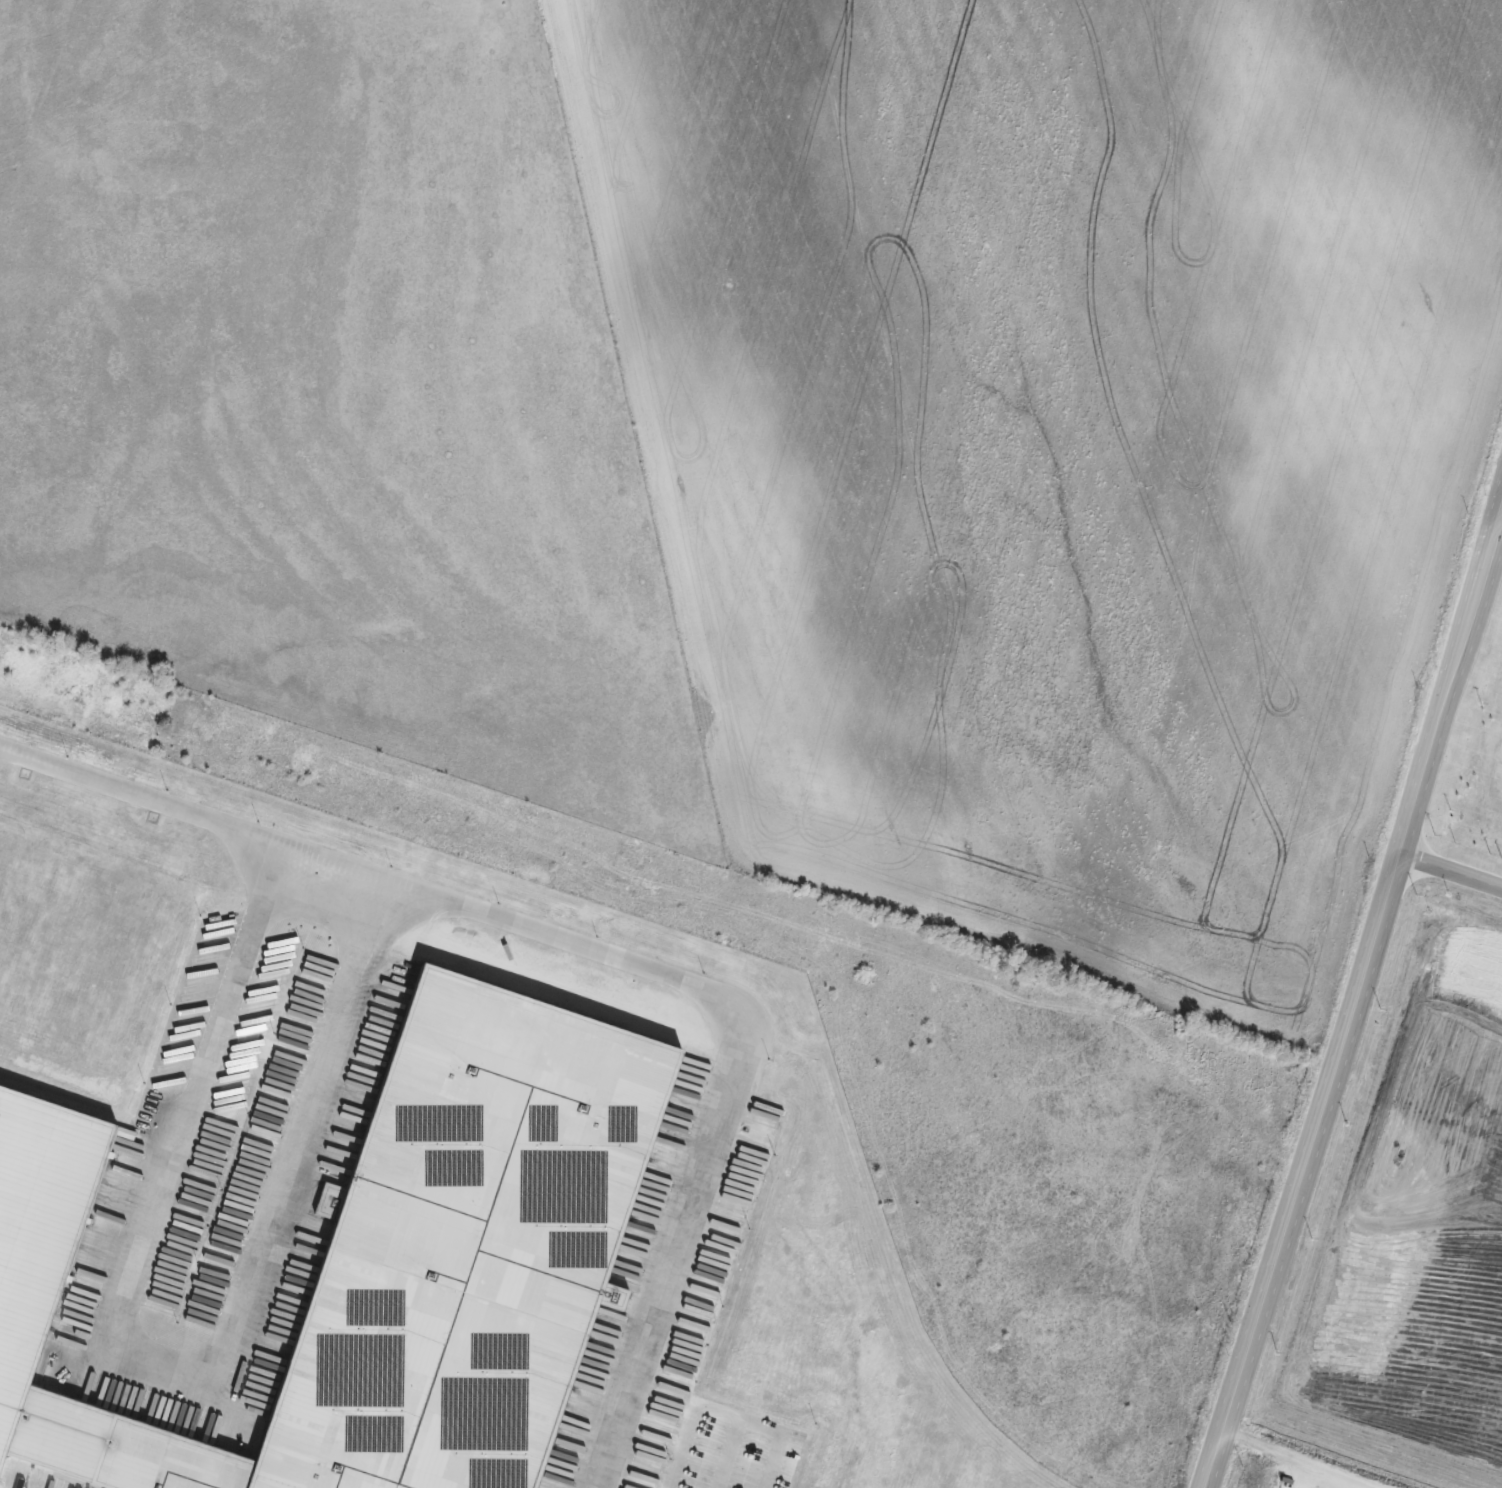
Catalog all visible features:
road: (1449, 871)
building: (1456, 890)
building: (79, 944)
road: (597, 960)
road: (1353, 995)
building: (381, 1261)
road: (167, 1356)

